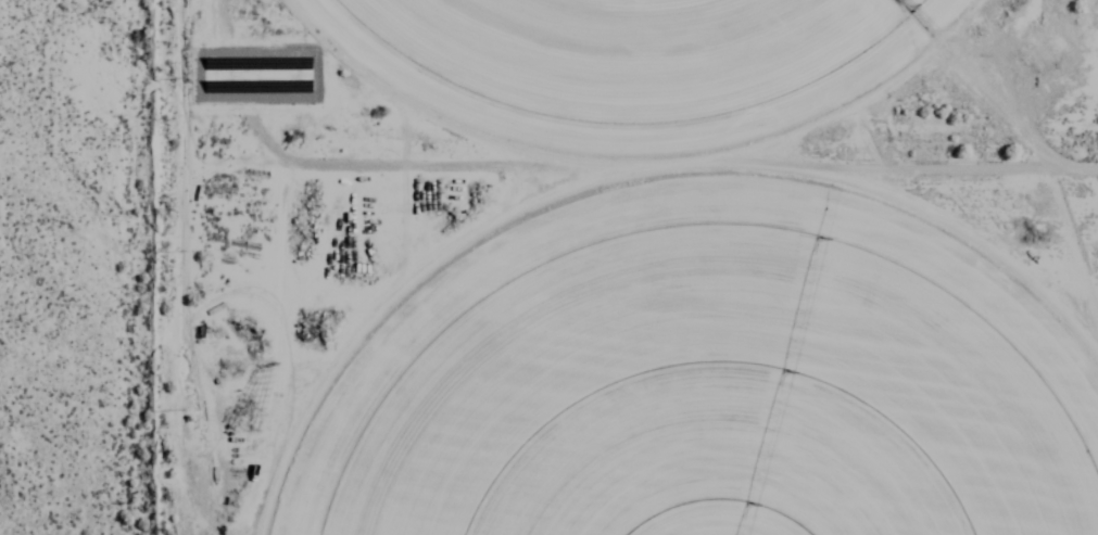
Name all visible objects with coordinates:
crop: (629, 51)
building: (251, 73)
road: (175, 267)
crop: (707, 382)

